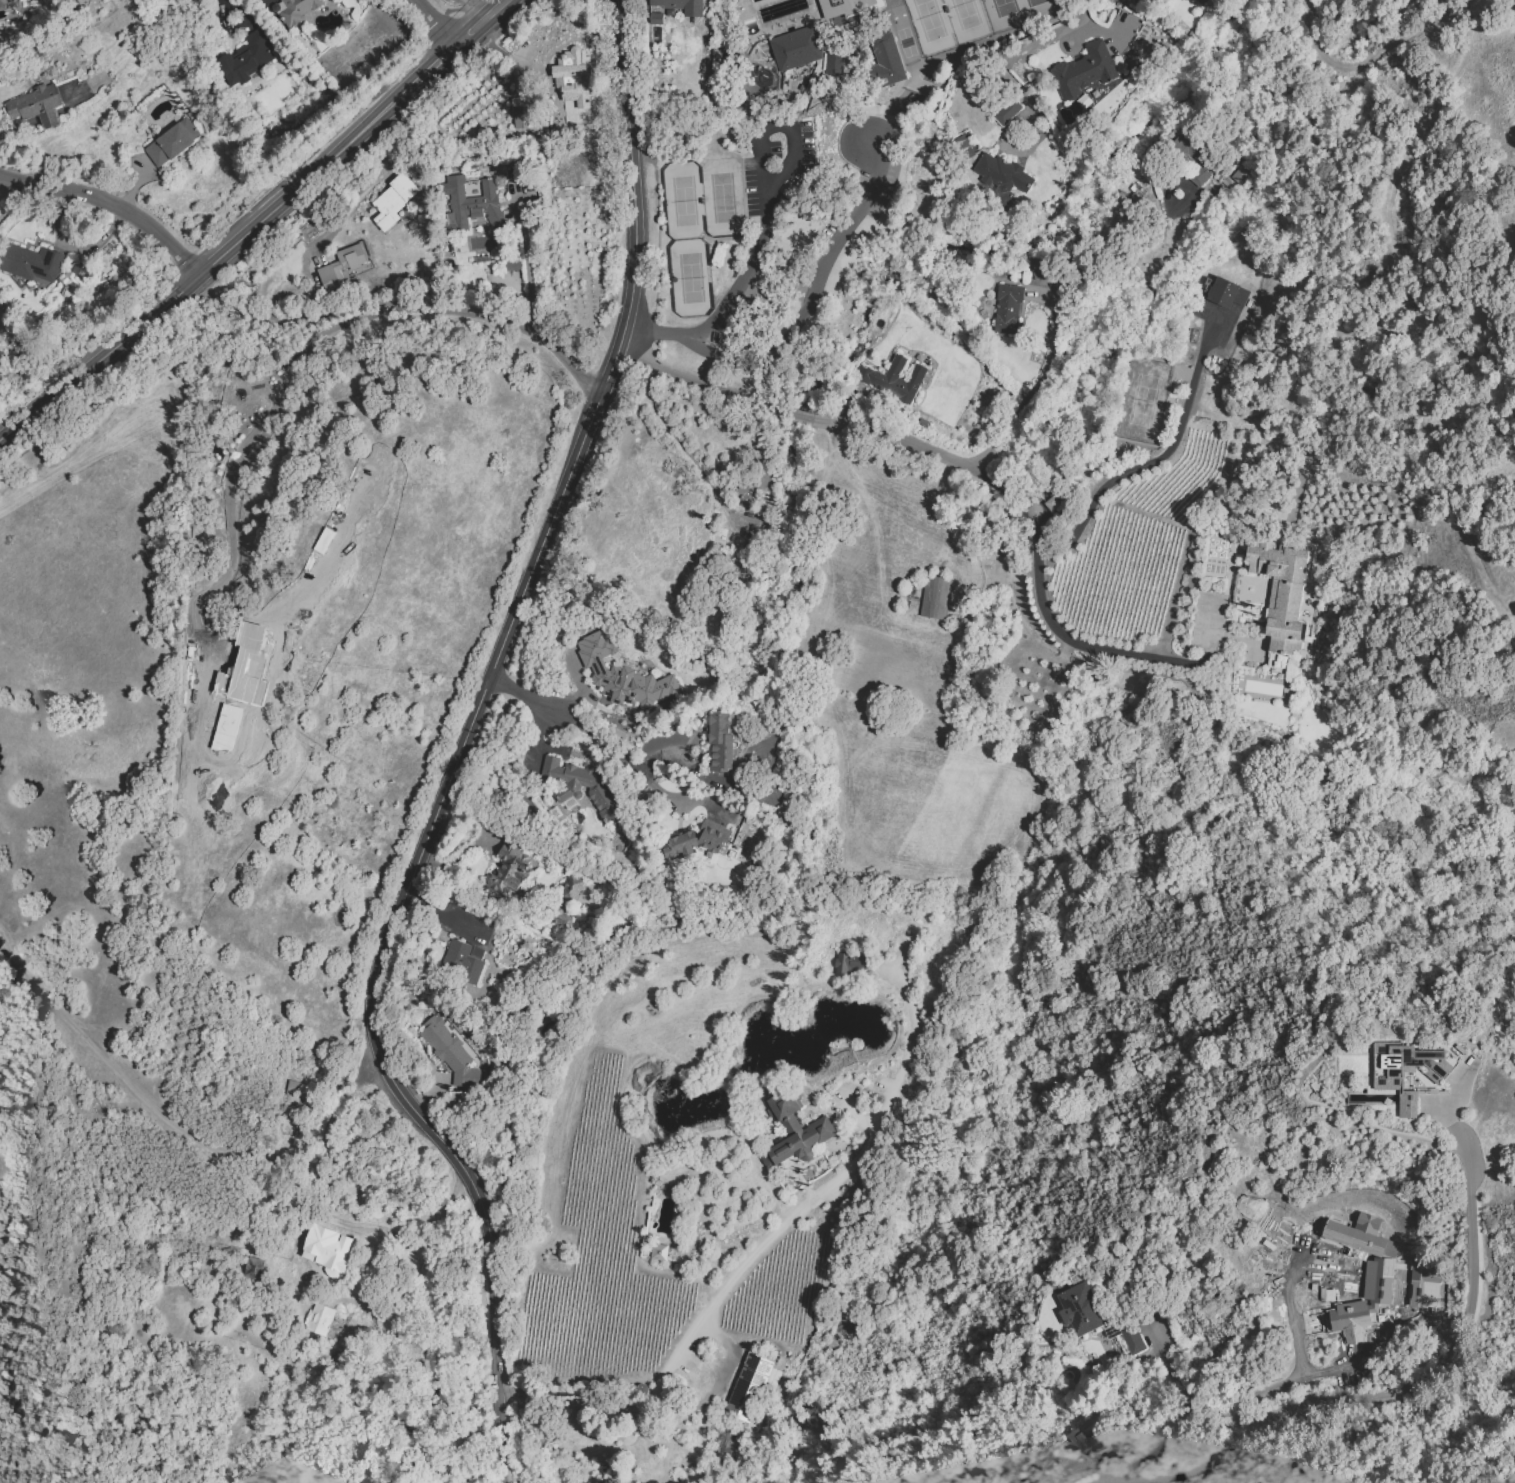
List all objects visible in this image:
building: (1201, 1)
building: (7, 4)
building: (682, 5)
park: (1041, 7)
building: (844, 8)
building: (295, 10)
building: (668, 11)
park: (1005, 13)
park: (967, 19)
road: (440, 20)
park: (930, 25)
park: (906, 43)
building: (797, 48)
road: (1026, 48)
building: (571, 52)
building: (246, 58)
building: (885, 58)
building: (834, 59)
building: (1083, 70)
park: (920, 78)
building: (36, 105)
building: (1006, 111)
building: (522, 112)
road: (887, 119)
building: (570, 123)
building: (172, 142)
building: (967, 145)
road: (1014, 153)
building: (1209, 165)
parking lot: (778, 167)
building: (1003, 175)
building: (717, 187)
road: (9, 188)
park: (723, 198)
building: (393, 200)
building: (472, 201)
park: (684, 202)
road: (112, 204)
road: (242, 215)
road: (259, 226)
road: (1102, 229)
road: (274, 244)
building: (30, 262)
building: (341, 264)
building: (513, 264)
road: (526, 267)
road: (750, 273)
park: (691, 279)
building: (1227, 293)
road: (810, 295)
building: (1010, 311)
road: (470, 314)
road: (311, 316)
road: (1050, 352)
road: (565, 360)
building: (896, 380)
road: (696, 384)
park: (1143, 400)
road: (798, 416)
road: (262, 423)
road: (986, 434)
road: (1154, 461)
building: (754, 489)
road: (873, 498)
building: (1050, 503)
road: (1038, 530)
building: (1225, 535)
building: (1113, 550)
building: (1239, 590)
road: (522, 593)
building: (936, 597)
building: (1293, 604)
building: (1289, 641)
building: (628, 683)
building: (226, 691)
road: (522, 696)
road: (602, 739)
building: (722, 742)
building: (602, 792)
building: (700, 842)
building: (513, 871)
building: (573, 891)
building: (558, 915)
building: (848, 964)
building: (465, 965)
building: (451, 1055)
building: (1407, 1072)
building: (291, 1090)
building: (1386, 1095)
road: (1447, 1113)
road: (852, 1118)
building: (794, 1130)
road: (415, 1223)
road: (756, 1249)
building: (330, 1251)
building: (658, 1252)
building: (1367, 1254)
building: (255, 1270)
building: (1423, 1285)
building: (1081, 1309)
road: (490, 1315)
building: (1353, 1317)
building: (327, 1325)
building: (1132, 1340)
road: (726, 1348)
road: (1299, 1368)
road: (1327, 1370)
building: (751, 1387)
road: (1392, 1388)
road: (1170, 1418)
building: (1084, 1437)
building: (584, 1460)

